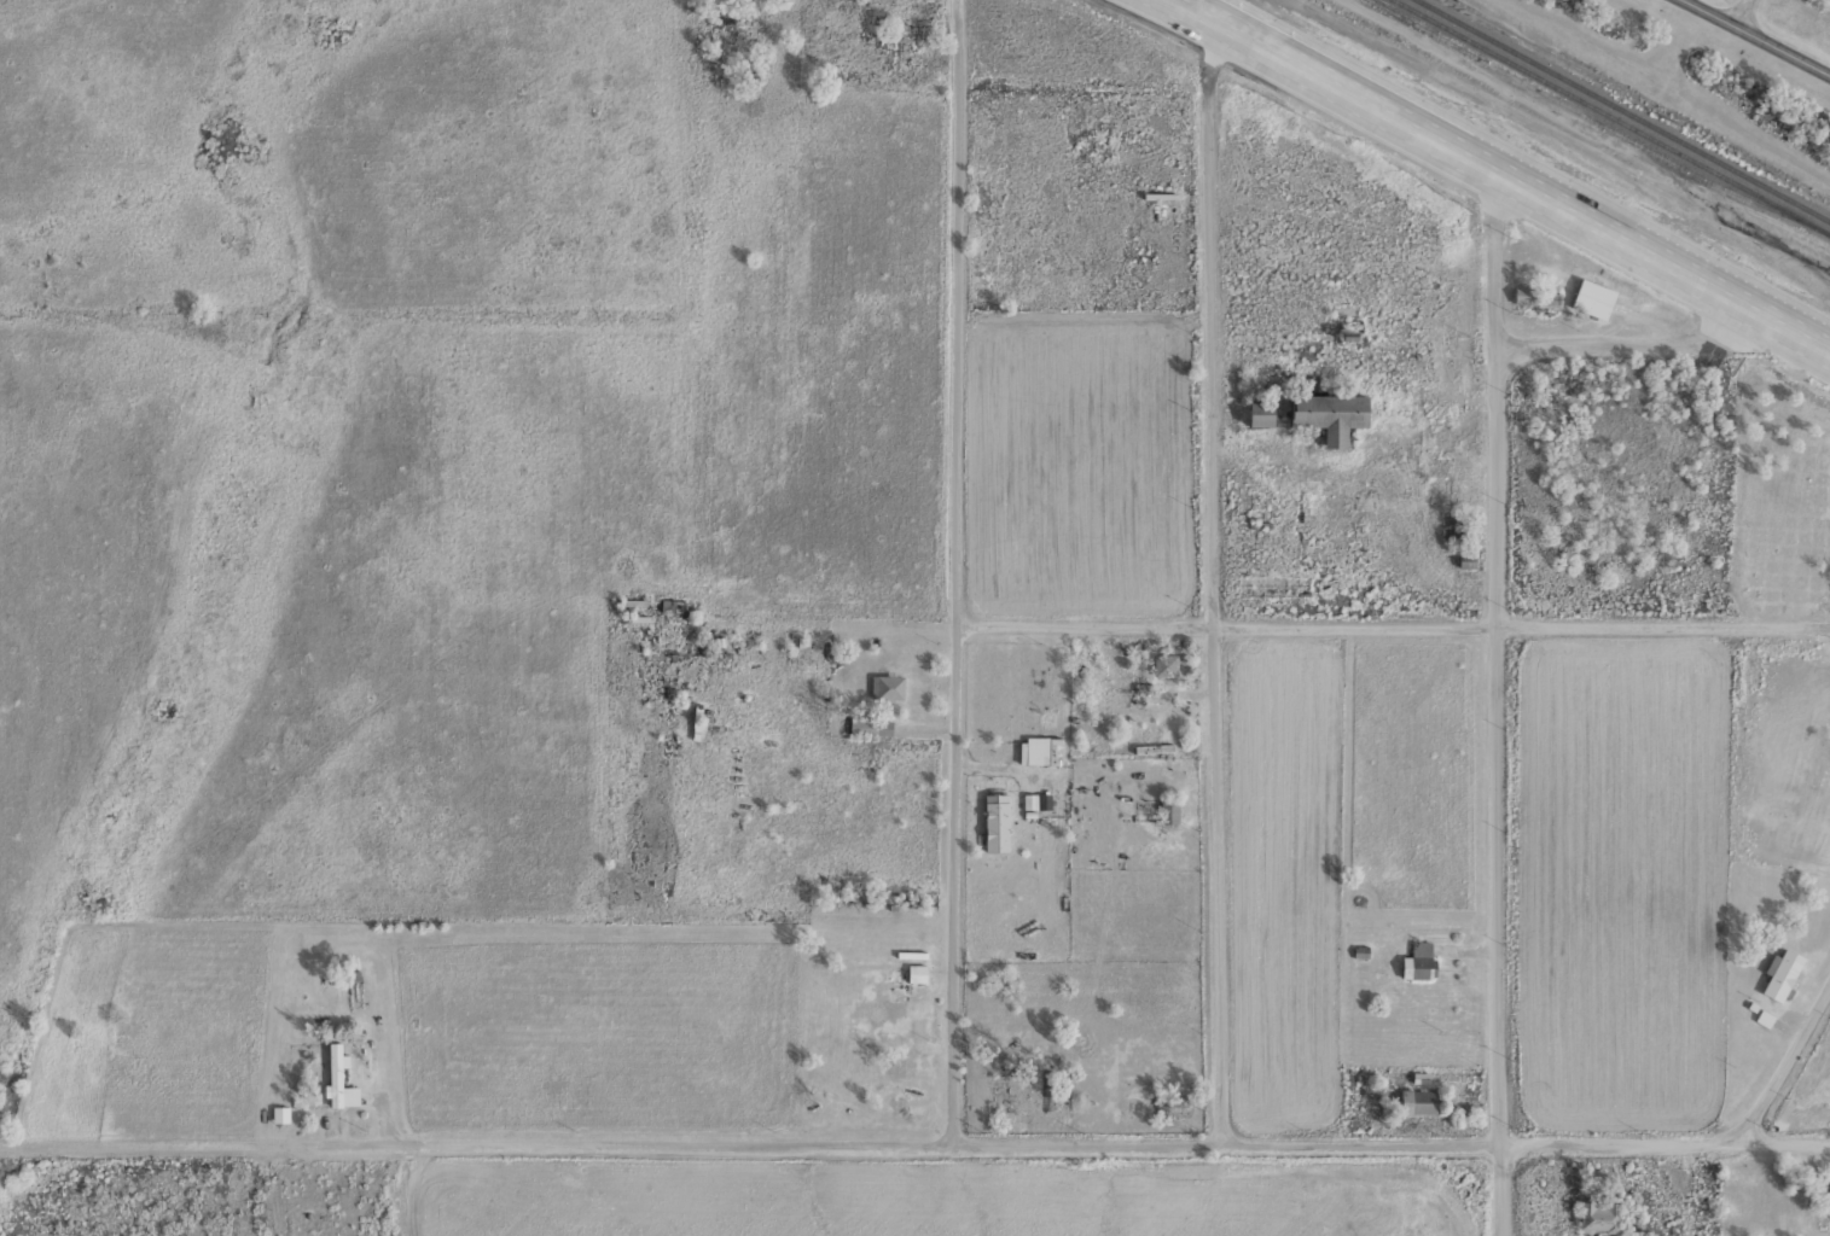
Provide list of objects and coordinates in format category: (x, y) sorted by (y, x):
road: (1747, 13)
road: (1758, 36)
railway: (1628, 109)
railway: (1615, 116)
road: (1512, 170)
building: (1535, 296)
building: (1591, 297)
road: (1629, 337)
building: (1231, 361)
building: (1256, 412)
building: (1325, 413)
road: (963, 569)
road: (1221, 572)
road: (1335, 625)
building: (1163, 664)
building: (885, 686)
road: (1503, 700)
building: (861, 724)
building: (1167, 810)
building: (1416, 961)
building: (916, 972)
building: (1780, 974)
road: (1778, 1051)
building: (337, 1077)
building: (1414, 1100)
road: (1396, 1135)
road: (482, 1143)
road: (273, 1190)
building: (1828, 1201)
building: (1597, 1215)
building: (1636, 1232)

